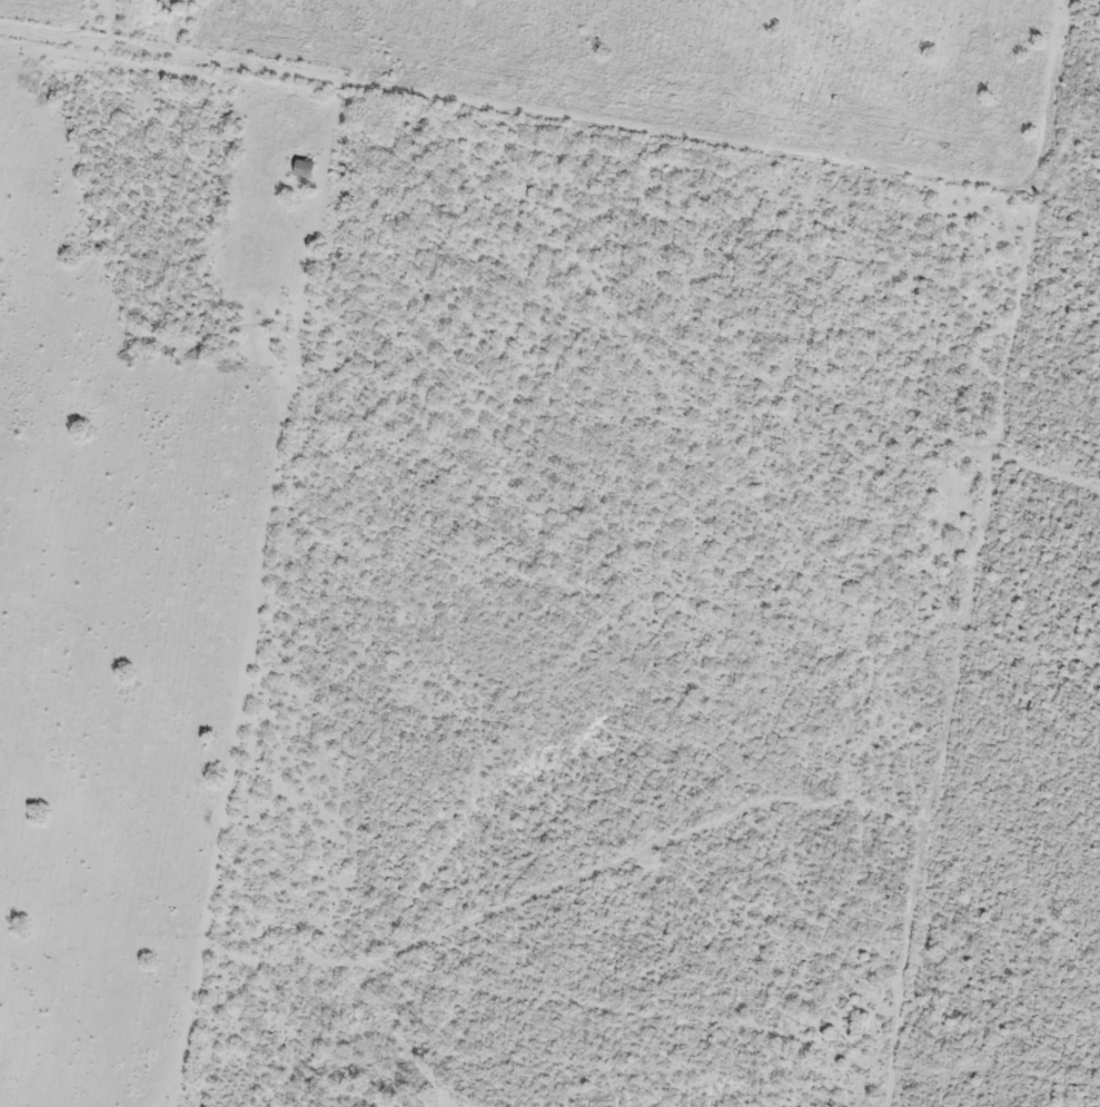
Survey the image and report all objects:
building: (305, 170)
road: (313, 334)
building: (968, 408)
road: (998, 551)

